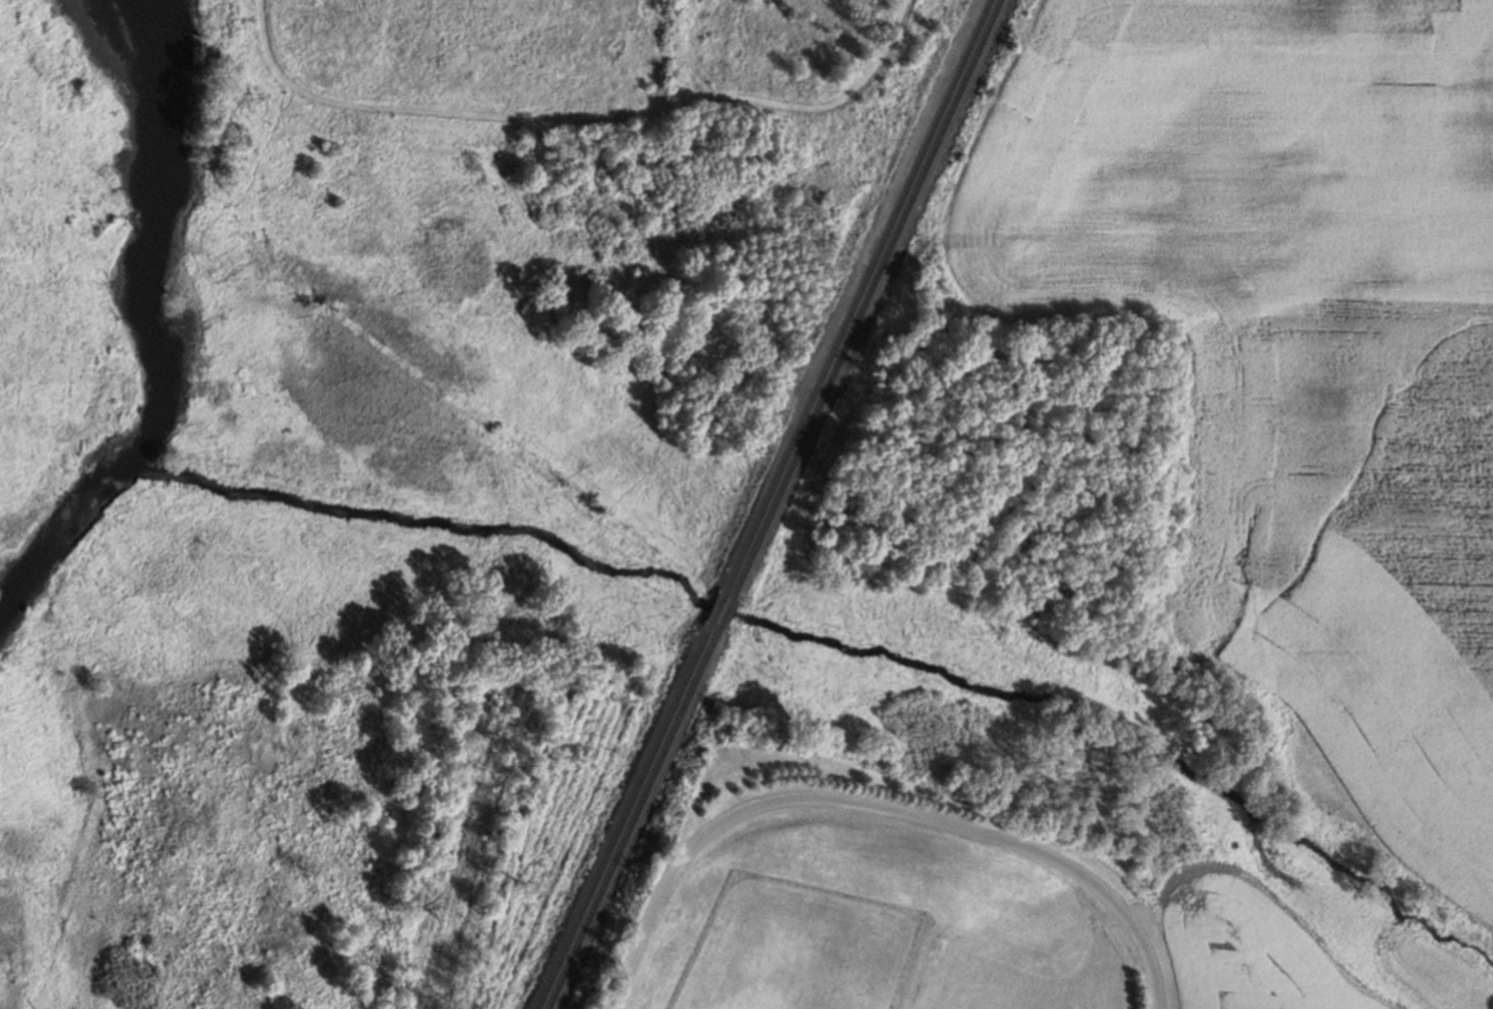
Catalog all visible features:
road: (580, 117)
railway: (857, 294)
railway: (867, 297)
river: (163, 332)
railway: (717, 607)
railway: (726, 610)
road: (876, 809)
railway: (623, 817)
railway: (633, 817)

